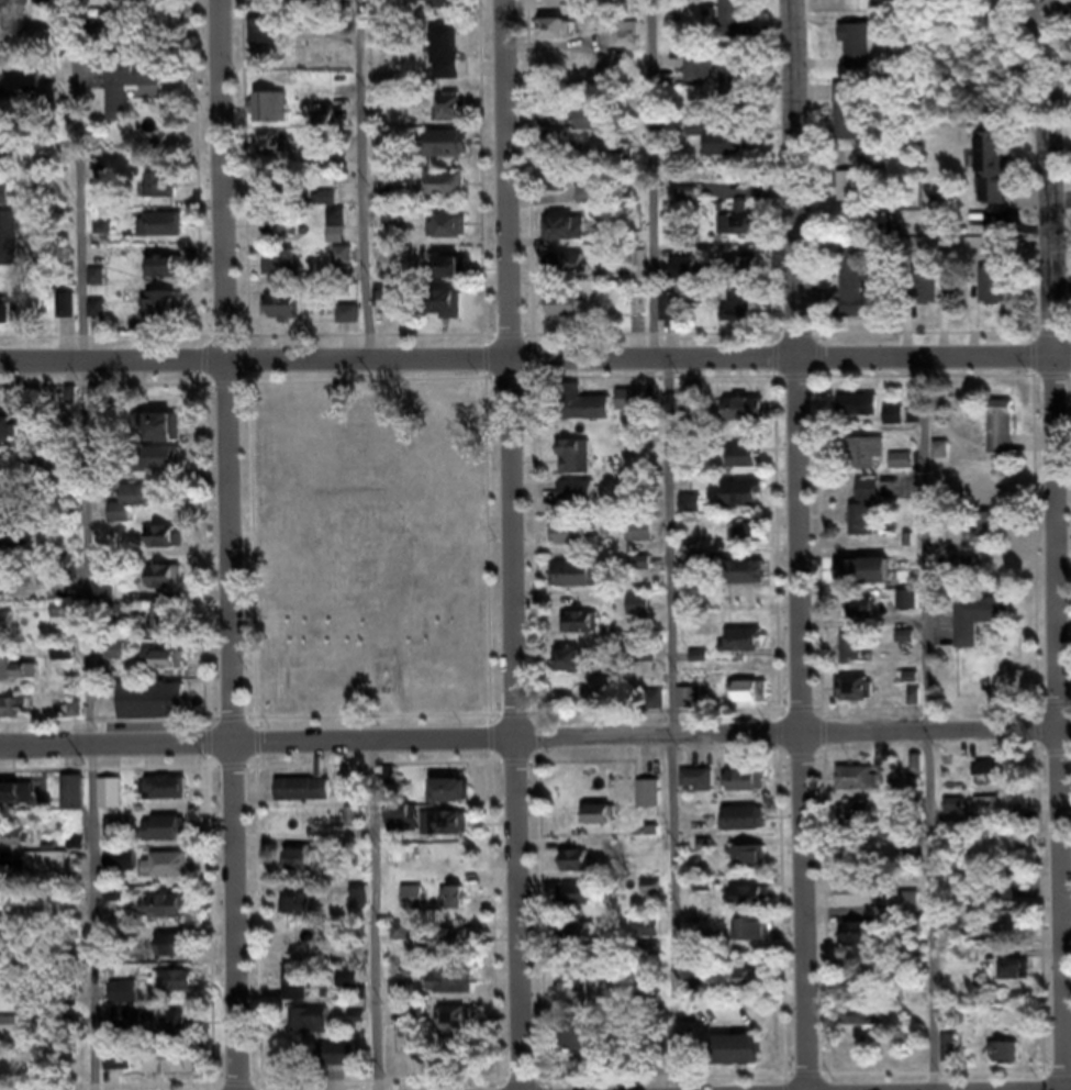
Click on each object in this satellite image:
building: (858, 0)
building: (279, 1)
building: (448, 8)
building: (1063, 13)
building: (20, 25)
building: (737, 27)
building: (270, 37)
building: (562, 37)
building: (629, 44)
building: (863, 54)
building: (451, 60)
building: (27, 90)
building: (138, 91)
building: (737, 92)
building: (271, 116)
building: (456, 116)
building: (852, 121)
building: (593, 129)
building: (726, 142)
building: (457, 152)
building: (561, 154)
building: (277, 155)
building: (8, 158)
building: (629, 162)
building: (1000, 178)
road: (365, 185)
building: (864, 185)
building: (561, 189)
building: (278, 192)
building: (451, 193)
building: (168, 194)
building: (8, 202)
building: (593, 204)
building: (399, 229)
building: (745, 233)
building: (167, 234)
building: (283, 234)
building: (453, 236)
building: (570, 238)
building: (11, 248)
building: (348, 270)
building: (576, 274)
building: (286, 275)
building: (174, 276)
building: (750, 276)
building: (459, 277)
building: (687, 278)
building: (100, 287)
building: (1000, 296)
building: (858, 298)
building: (70, 314)
building: (455, 314)
building: (567, 314)
building: (639, 314)
building: (741, 314)
building: (291, 315)
building: (166, 316)
building: (677, 316)
building: (101, 318)
building: (12, 323)
building: (353, 324)
road: (535, 369)
building: (638, 387)
building: (588, 396)
building: (637, 410)
building: (104, 411)
building: (863, 415)
building: (594, 416)
building: (752, 419)
building: (695, 424)
building: (899, 424)
building: (168, 436)
building: (1007, 436)
building: (11, 440)
building: (643, 456)
building: (947, 459)
building: (874, 461)
building: (580, 466)
building: (750, 466)
building: (171, 467)
building: (910, 469)
building: (748, 503)
building: (135, 511)
building: (11, 514)
building: (874, 519)
building: (993, 538)
building: (646, 540)
road: (87, 544)
building: (578, 544)
building: (759, 544)
road: (227, 545)
road: (512, 545)
road: (666, 545)
road: (797, 545)
building: (169, 546)
building: (365, 565)
building: (646, 574)
building: (872, 579)
building: (760, 580)
building: (583, 585)
building: (169, 587)
building: (10, 594)
building: (107, 602)
road: (1059, 608)
building: (914, 610)
building: (645, 615)
building: (868, 616)
building: (985, 626)
building: (592, 630)
building: (10, 632)
building: (171, 632)
building: (750, 649)
building: (858, 658)
building: (67, 660)
building: (168, 669)
building: (582, 670)
building: (23, 679)
building: (860, 699)
building: (756, 702)
building: (695, 708)
building: (158, 710)
building: (18, 716)
road: (929, 728)
road: (535, 744)
building: (919, 775)
building: (996, 778)
building: (864, 788)
building: (703, 789)
building: (751, 790)
building: (170, 798)
building: (308, 799)
building: (461, 800)
building: (23, 801)
building: (78, 802)
building: (115, 802)
building: (655, 802)
building: (1002, 816)
building: (603, 823)
building: (408, 827)
building: (752, 827)
building: (868, 827)
building: (450, 833)
building: (122, 836)
building: (172, 836)
building: (14, 846)
building: (895, 861)
building: (757, 867)
building: (125, 868)
building: (310, 869)
building: (583, 870)
building: (52, 874)
building: (171, 874)
building: (587, 903)
building: (864, 904)
building: (760, 907)
building: (464, 908)
building: (1015, 909)
building: (300, 914)
building: (176, 916)
road: (377, 919)
building: (1019, 934)
building: (654, 938)
building: (763, 939)
building: (866, 944)
building: (297, 950)
building: (457, 950)
building: (8, 956)
building: (180, 956)
building: (654, 959)
building: (1022, 980)
building: (354, 988)
building: (761, 988)
building: (178, 991)
building: (302, 992)
building: (461, 992)
building: (12, 999)
building: (585, 1000)
building: (131, 1002)
building: (873, 1026)
building: (315, 1031)
building: (180, 1032)
building: (14, 1034)
building: (466, 1039)
building: (587, 1049)
building: (747, 1059)
building: (1011, 1060)
building: (337, 1064)
building: (181, 1070)

